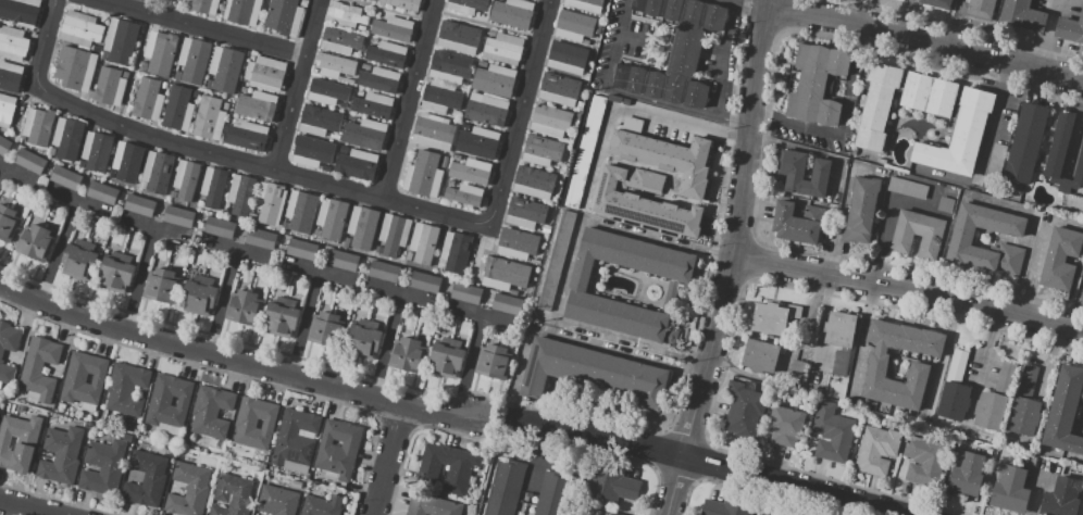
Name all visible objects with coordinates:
building: (371, 0)
building: (500, 0)
road: (748, 2)
building: (939, 2)
building: (302, 3)
building: (402, 3)
building: (586, 4)
building: (468, 5)
building: (204, 8)
building: (978, 8)
building: (21, 11)
building: (242, 11)
building: (512, 13)
building: (376, 14)
building: (346, 15)
building: (1022, 15)
building: (284, 16)
building: (574, 25)
road: (198, 27)
building: (360, 27)
building: (393, 28)
building: (1071, 28)
building: (80, 29)
building: (491, 33)
building: (459, 36)
road: (924, 39)
building: (121, 40)
building: (340, 40)
building: (13, 43)
building: (502, 49)
building: (159, 52)
building: (675, 52)
building: (352, 53)
building: (386, 53)
building: (104, 55)
building: (251, 58)
road: (722, 58)
building: (567, 59)
building: (194, 60)
building: (336, 64)
building: (482, 64)
building: (364, 66)
building: (449, 67)
building: (75, 68)
building: (224, 70)
building: (264, 74)
building: (177, 75)
building: (10, 76)
building: (586, 76)
building: (378, 79)
building: (494, 80)
building: (817, 84)
road: (294, 85)
building: (109, 86)
building: (164, 86)
building: (559, 89)
building: (249, 90)
building: (326, 91)
building: (195, 93)
building: (359, 93)
road: (632, 95)
building: (929, 95)
building: (439, 97)
building: (148, 99)
road: (407, 99)
building: (343, 104)
building: (225, 105)
building: (257, 105)
building: (372, 105)
building: (580, 105)
building: (877, 105)
building: (178, 109)
building: (7, 110)
building: (486, 110)
road: (634, 111)
building: (456, 113)
building: (577, 116)
building: (350, 117)
building: (209, 118)
road: (993, 118)
building: (550, 120)
building: (319, 121)
road: (845, 125)
building: (36, 126)
building: (433, 131)
building: (327, 135)
building: (364, 135)
building: (960, 135)
building: (247, 136)
building: (335, 137)
building: (67, 138)
building: (478, 142)
building: (1026, 143)
building: (1059, 145)
building: (4, 147)
building: (344, 149)
building: (97, 150)
building: (540, 150)
building: (51, 151)
building: (310, 152)
building: (585, 152)
building: (455, 158)
building: (30, 161)
building: (126, 162)
building: (80, 163)
building: (995, 163)
building: (357, 164)
building: (443, 165)
building: (563, 167)
road: (1, 168)
building: (328, 168)
building: (473, 169)
building: (1079, 169)
building: (157, 172)
building: (423, 175)
building: (793, 175)
building: (66, 177)
building: (185, 179)
building: (450, 183)
building: (534, 183)
building: (141, 185)
road: (328, 185)
building: (693, 185)
building: (213, 187)
building: (908, 188)
building: (102, 192)
building: (172, 194)
building: (240, 194)
building: (464, 194)
building: (553, 199)
building: (200, 203)
building: (269, 203)
building: (946, 204)
building: (140, 205)
building: (861, 210)
building: (300, 211)
building: (525, 213)
building: (179, 216)
building: (331, 218)
road: (838, 221)
building: (8, 223)
building: (796, 224)
building: (220, 227)
building: (362, 227)
building: (546, 228)
building: (315, 233)
building: (78, 234)
building: (393, 234)
building: (918, 234)
building: (261, 238)
building: (962, 240)
building: (36, 242)
building: (346, 242)
building: (423, 242)
building: (516, 243)
building: (540, 246)
road: (58, 249)
building: (301, 250)
building: (378, 250)
road: (711, 251)
road: (252, 252)
building: (455, 252)
building: (408, 255)
building: (1060, 259)
building: (343, 261)
building: (556, 261)
road: (734, 261)
building: (78, 262)
road: (565, 271)
building: (384, 272)
building: (115, 275)
building: (510, 276)
road: (138, 278)
building: (425, 281)
building: (161, 286)
building: (577, 287)
road: (909, 291)
building: (464, 292)
building: (1082, 292)
building: (199, 298)
building: (485, 299)
road: (221, 300)
building: (507, 304)
building: (244, 307)
building: (770, 318)
building: (281, 319)
road: (304, 323)
building: (326, 329)
building: (841, 329)
road: (583, 339)
building: (363, 341)
road: (987, 344)
road: (386, 346)
road: (686, 353)
building: (1, 355)
building: (408, 355)
building: (760, 356)
road: (236, 360)
building: (447, 360)
building: (839, 361)
building: (494, 362)
road: (468, 365)
building: (957, 366)
building: (876, 367)
building: (797, 368)
building: (39, 369)
building: (593, 373)
building: (1005, 378)
building: (84, 380)
building: (1028, 380)
building: (126, 389)
building: (955, 400)
building: (169, 404)
building: (743, 409)
building: (989, 411)
building: (1065, 411)
building: (212, 412)
building: (1024, 416)
road: (498, 418)
building: (256, 423)
building: (786, 425)
building: (833, 434)
road: (511, 436)
building: (127, 437)
building: (296, 440)
building: (18, 442)
building: (338, 450)
building: (876, 450)
building: (62, 454)
building: (921, 461)
road: (387, 462)
road: (707, 464)
building: (103, 466)
building: (970, 472)
building: (458, 474)
building: (146, 479)
building: (297, 483)
building: (613, 483)
building: (505, 488)
building: (189, 489)
building: (1010, 489)
building: (555, 494)
building: (233, 495)
building: (1061, 497)
building: (277, 501)
building: (322, 505)
building: (432, 505)
building: (730, 505)
road: (26, 507)
building: (593, 512)
building: (763, 514)
building: (765, 514)

